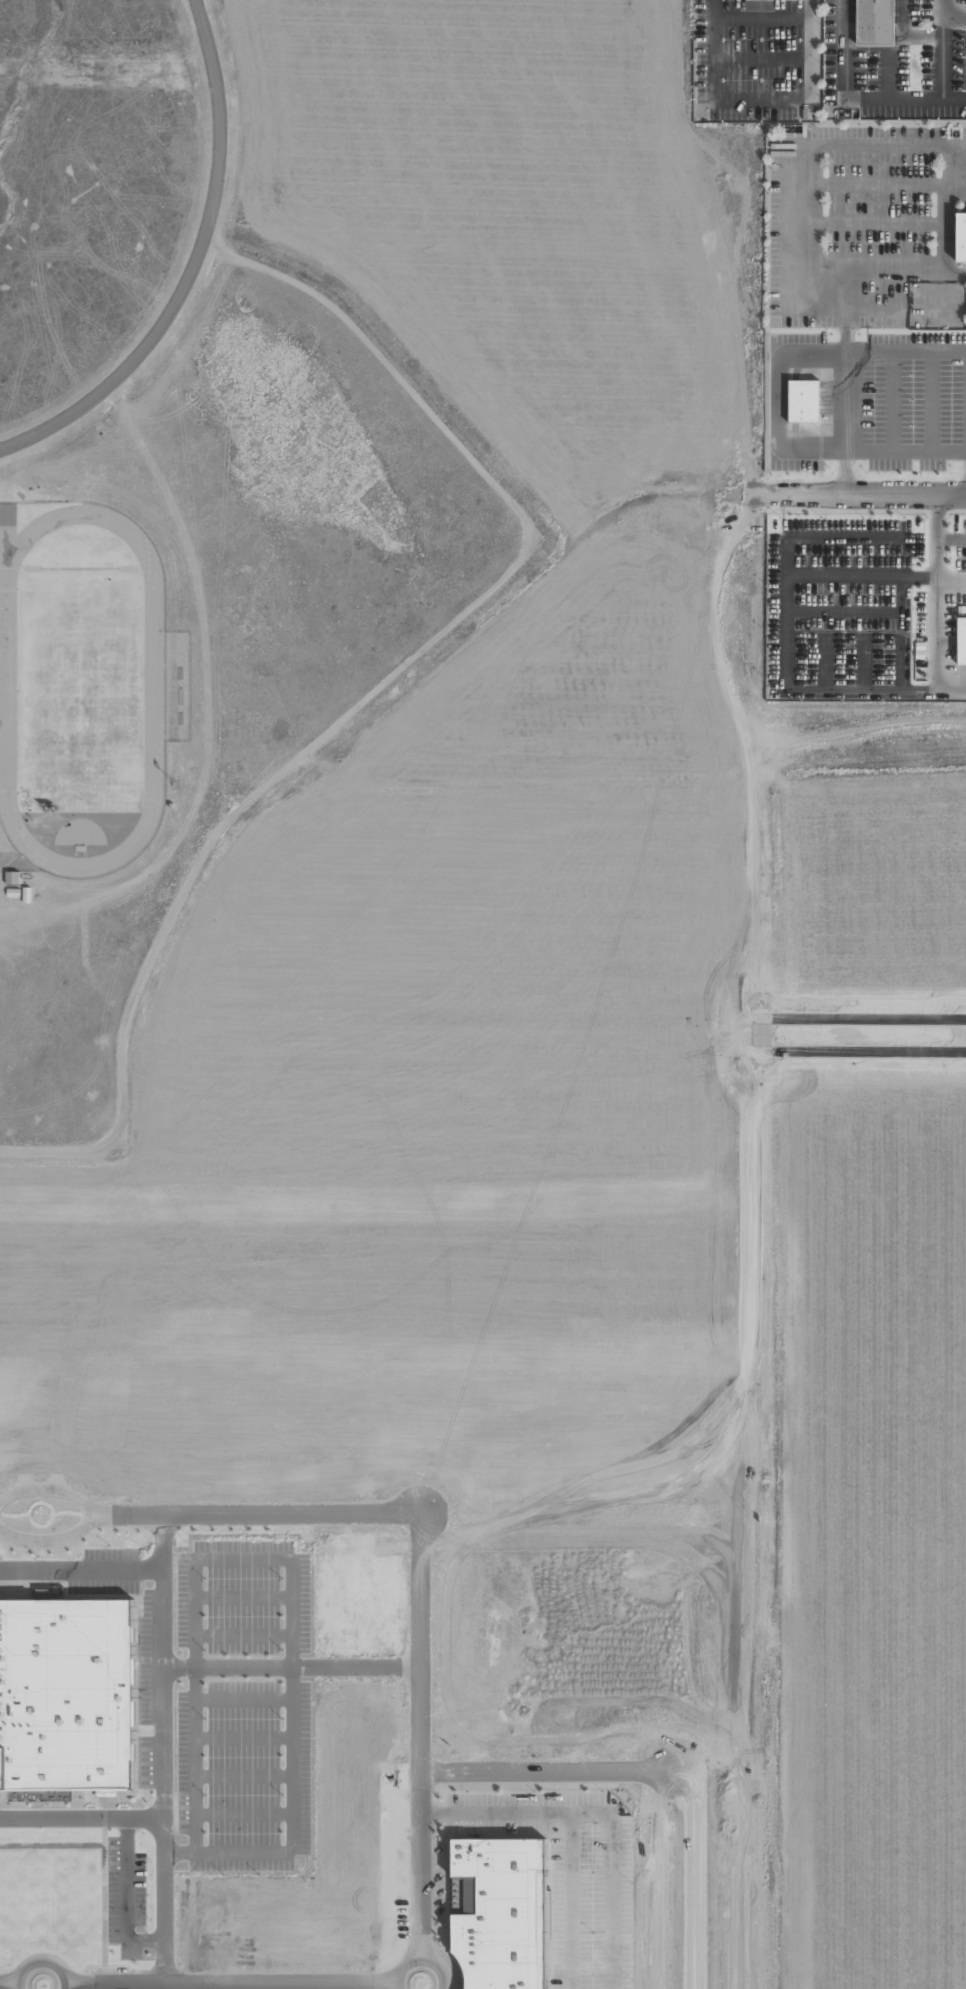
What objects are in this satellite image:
building: (963, 4)
road: (944, 9)
road: (763, 18)
building: (867, 23)
road: (944, 48)
road: (763, 58)
road: (886, 75)
road: (763, 99)
road: (853, 100)
building: (956, 238)
road: (189, 264)
building: (796, 403)
road: (857, 492)
park: (77, 568)
building: (957, 642)
park: (81, 688)
track: (153, 689)
building: (170, 805)
building: (12, 877)
road: (49, 1489)
road: (257, 1513)
road: (50, 1540)
building: (66, 1702)
road: (420, 1734)
road: (547, 1769)
road: (571, 1829)
building: (503, 1913)
road: (418, 1956)
road: (41, 1961)
road: (230, 1984)
road: (8, 1986)

